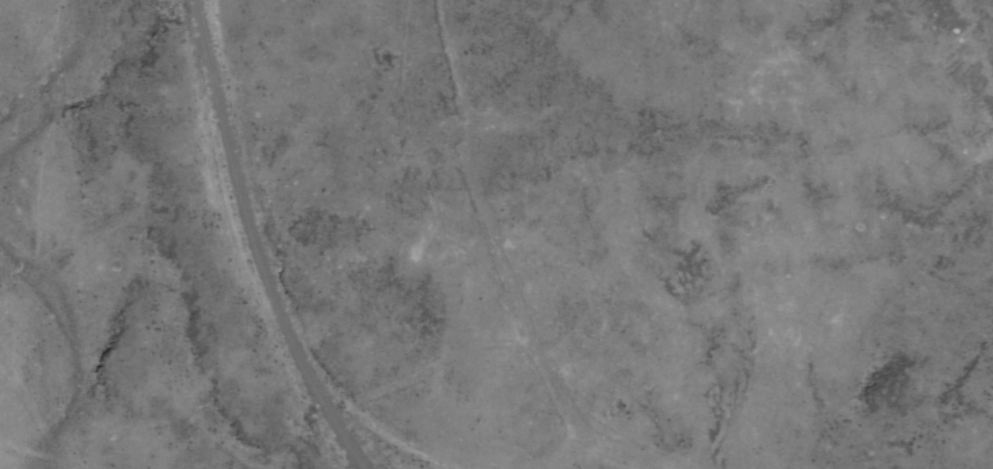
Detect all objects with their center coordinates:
road: (532, 285)

